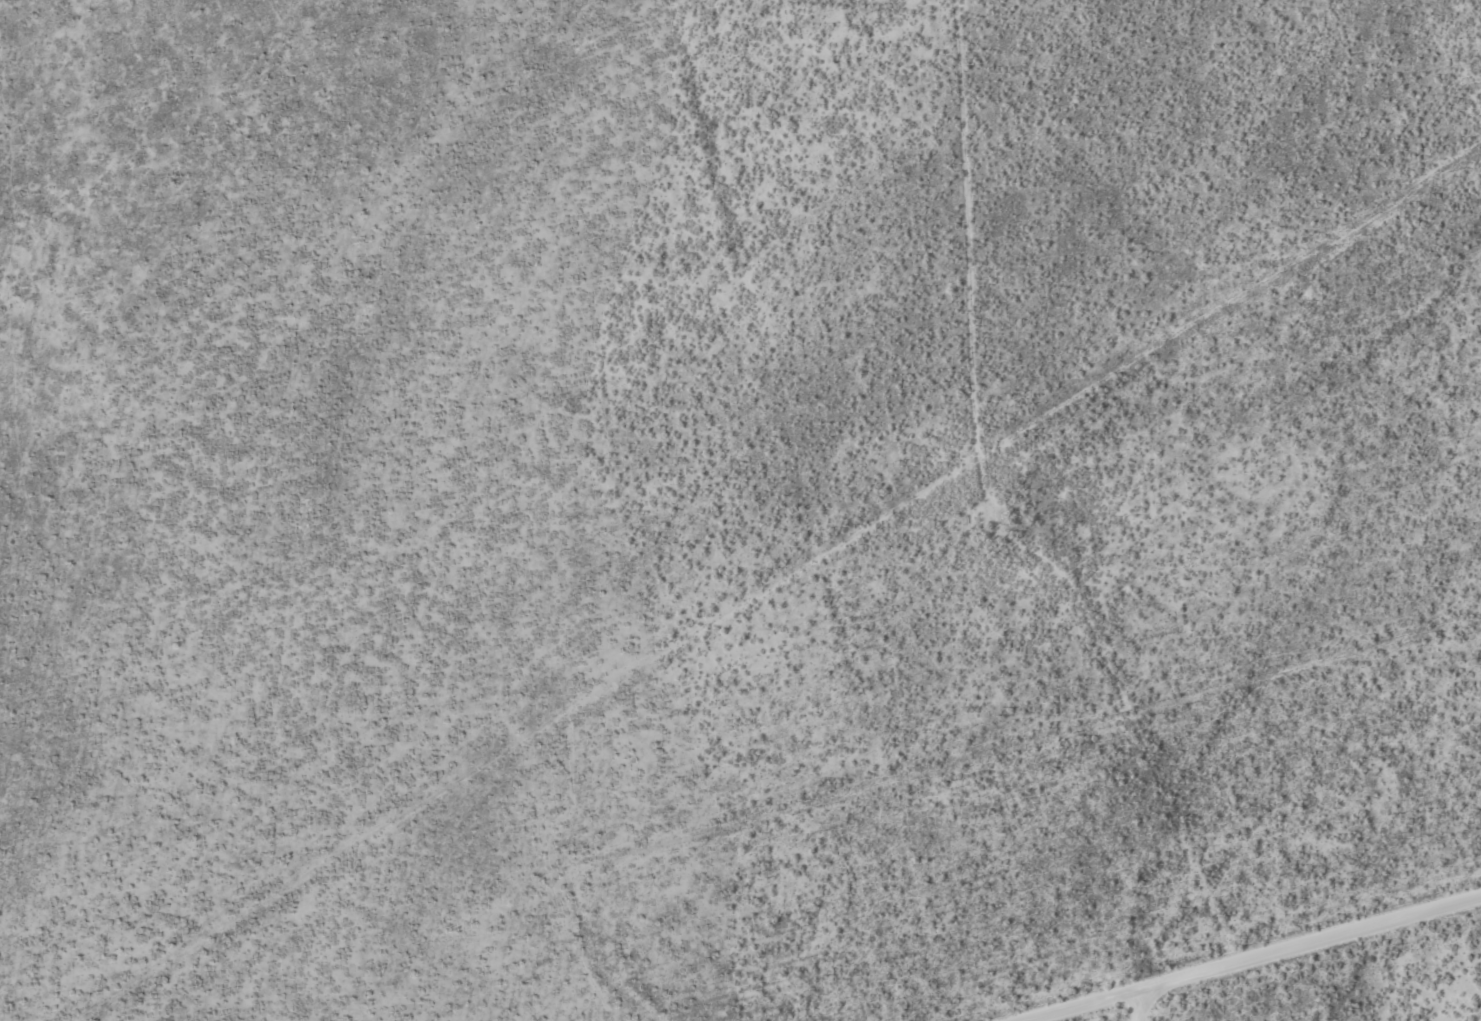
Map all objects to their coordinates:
road: (992, 513)
road: (1246, 954)
road: (1139, 1003)

